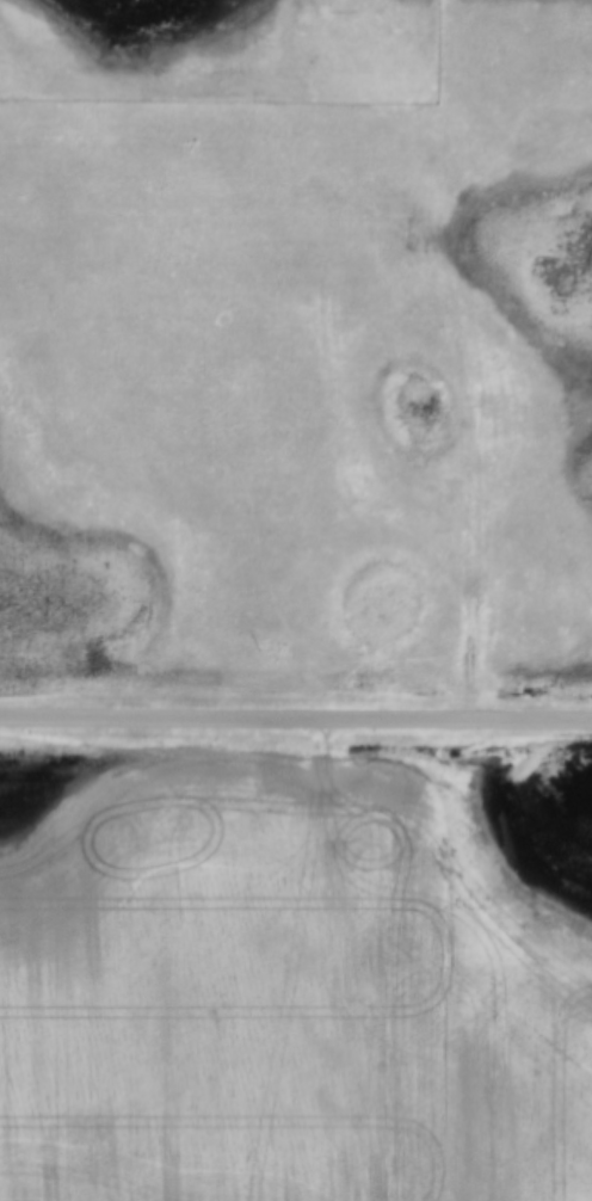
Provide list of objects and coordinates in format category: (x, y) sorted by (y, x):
road: (296, 722)

